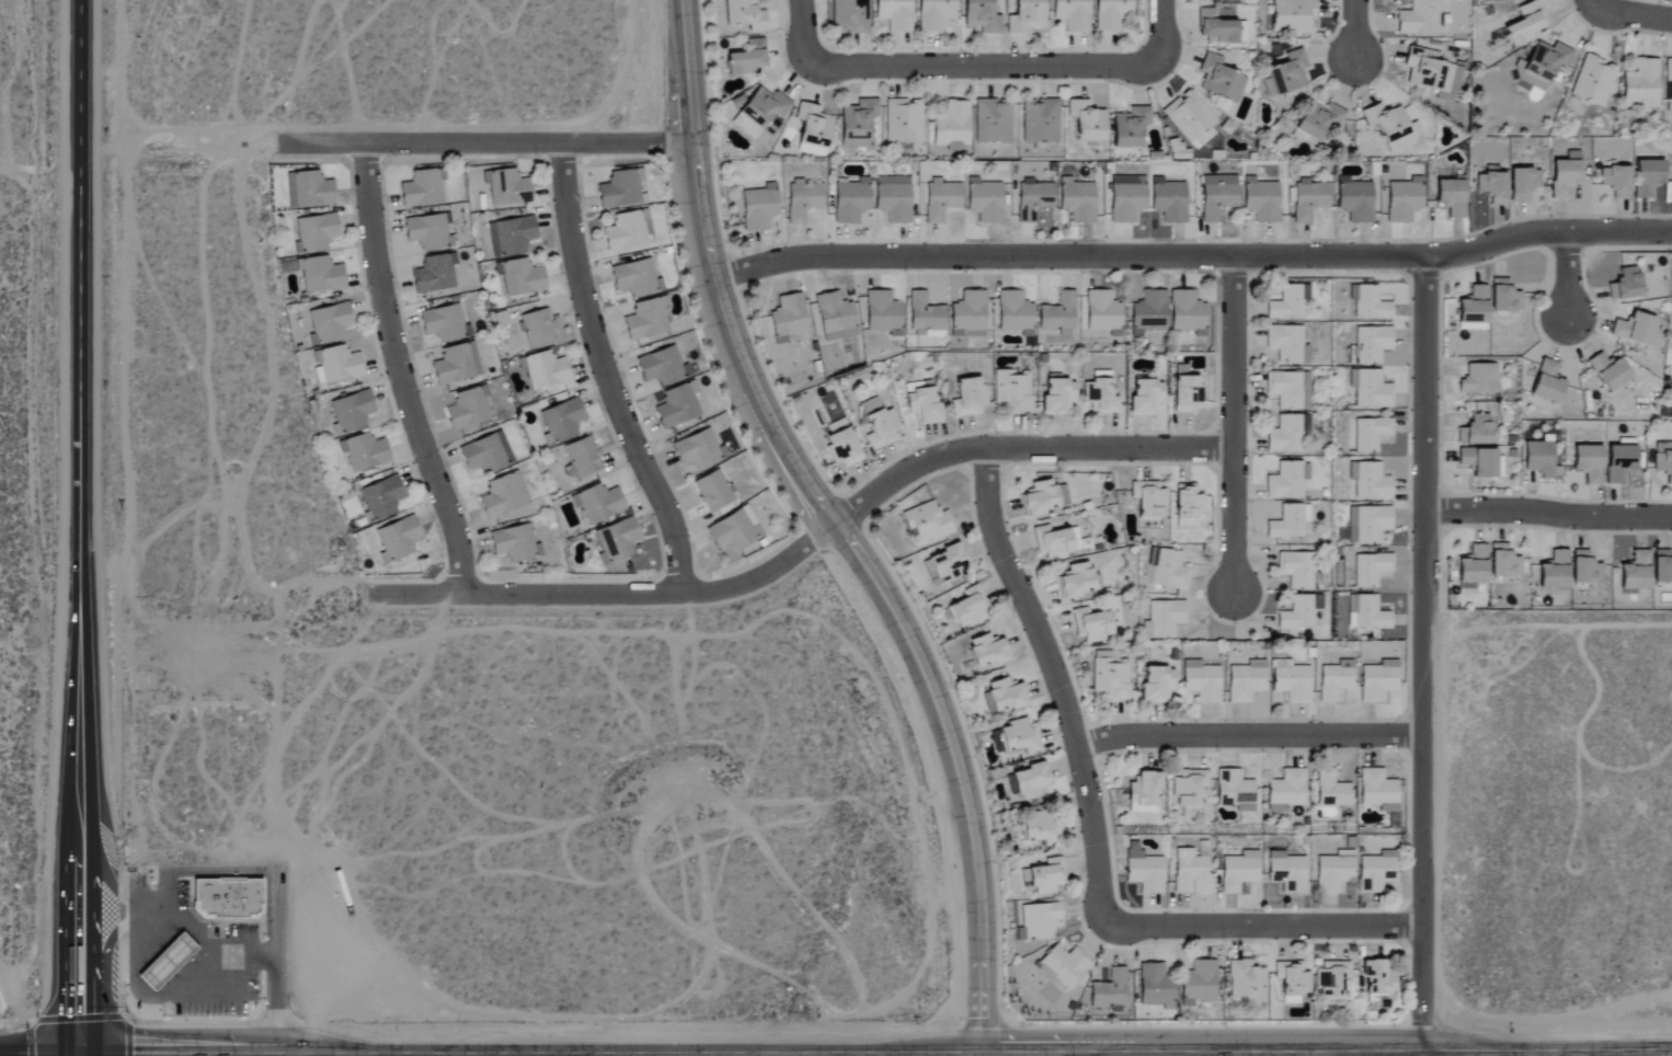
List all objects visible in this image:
building: (1219, 0)
road: (1634, 13)
building: (894, 14)
building: (934, 14)
building: (1072, 14)
building: (1110, 14)
building: (743, 15)
building: (848, 16)
building: (981, 16)
building: (1024, 16)
building: (1293, 16)
building: (1420, 19)
building: (1525, 26)
building: (1214, 28)
road: (1164, 32)
road: (1355, 32)
building: (1240, 33)
road: (804, 38)
building: (747, 59)
road: (992, 67)
building: (1432, 74)
building: (1285, 76)
building: (1219, 80)
building: (1594, 81)
building: (1669, 81)
building: (1642, 87)
building: (763, 112)
building: (1190, 118)
building: (903, 122)
building: (993, 122)
building: (1040, 122)
building: (1086, 122)
building: (1318, 122)
building: (857, 124)
building: (952, 127)
building: (1392, 127)
building: (1130, 128)
building: (812, 129)
road: (461, 145)
building: (1565, 179)
building: (1648, 179)
building: (1616, 182)
building: (1523, 184)
building: (506, 186)
building: (421, 188)
building: (1492, 188)
building: (308, 190)
building: (618, 190)
building: (1217, 196)
building: (1126, 198)
building: (1451, 198)
building: (893, 199)
building: (940, 199)
building: (1033, 199)
building: (1309, 199)
building: (1169, 200)
building: (1261, 200)
building: (1354, 200)
building: (1404, 200)
building: (802, 202)
building: (850, 202)
building: (984, 202)
building: (1076, 202)
building: (758, 208)
building: (314, 231)
building: (625, 231)
building: (427, 232)
building: (511, 236)
road: (1193, 257)
building: (320, 274)
building: (434, 274)
building: (522, 277)
building: (634, 277)
road: (1567, 277)
building: (1626, 284)
building: (1504, 296)
building: (1286, 302)
building: (1368, 302)
building: (1473, 308)
building: (881, 311)
building: (1013, 311)
building: (969, 312)
building: (1057, 312)
building: (1102, 312)
building: (1148, 312)
building: (925, 315)
building: (834, 317)
building: (787, 318)
building: (644, 319)
building: (329, 322)
building: (442, 323)
building: (1635, 328)
building: (537, 329)
building: (958, 338)
building: (1285, 343)
building: (1370, 345)
building: (337, 364)
building: (456, 364)
building: (660, 366)
building: (543, 369)
road: (401, 371)
building: (1610, 371)
road: (606, 374)
building: (1478, 379)
building: (1547, 381)
building: (1284, 389)
building: (1371, 389)
building: (1012, 390)
building: (1186, 390)
building: (1305, 390)
building: (1099, 393)
building: (1056, 395)
building: (967, 397)
building: (1145, 397)
building: (921, 404)
building: (676, 406)
building: (468, 409)
building: (351, 411)
building: (561, 421)
building: (878, 423)
road: (1233, 425)
road: (80, 426)
building: (1475, 431)
building: (1371, 433)
building: (1284, 434)
building: (503, 446)
building: (841, 448)
building: (698, 449)
building: (364, 451)
building: (482, 454)
building: (583, 457)
building: (1539, 459)
building: (1663, 459)
building: (1481, 461)
building: (1619, 461)
building: (1589, 462)
building: (1287, 480)
building: (1370, 481)
building: (711, 491)
building: (381, 497)
building: (499, 497)
building: (1043, 497)
building: (1148, 500)
building: (598, 503)
building: (1188, 506)
road: (1547, 514)
building: (1289, 521)
building: (927, 523)
building: (1367, 524)
road: (838, 527)
building: (734, 529)
building: (397, 539)
building: (616, 541)
road: (806, 541)
building: (1052, 542)
building: (514, 543)
building: (1503, 561)
building: (1473, 565)
building: (1662, 566)
building: (1585, 567)
building: (1371, 569)
building: (1169, 570)
building: (1296, 570)
building: (1555, 571)
building: (1636, 572)
building: (1076, 579)
building: (970, 608)
building: (1297, 613)
building: (1366, 613)
building: (1164, 619)
building: (1090, 624)
building: (987, 651)
road: (1422, 656)
building: (1110, 676)
building: (1201, 680)
building: (1335, 680)
road: (1056, 681)
building: (1245, 681)
building: (1377, 681)
building: (1156, 684)
building: (1004, 696)
road: (1248, 734)
building: (1020, 736)
building: (996, 742)
building: (1030, 781)
building: (1189, 788)
building: (1144, 789)
building: (1331, 790)
building: (1377, 790)
building: (1235, 791)
building: (1286, 791)
building: (1041, 828)
building: (1239, 871)
building: (1333, 871)
building: (1376, 871)
building: (1144, 872)
building: (1191, 872)
building: (1286, 872)
building: (1046, 876)
road: (114, 887)
building: (227, 898)
road: (82, 899)
building: (1038, 921)
road: (1262, 927)
road: (118, 929)
road: (209, 945)
building: (168, 961)
gas station: (168, 961)
road: (274, 962)
building: (1063, 966)
building: (1377, 978)
building: (1331, 979)
building: (1292, 980)
building: (1199, 982)
building: (1246, 983)
building: (1156, 987)
building: (1109, 990)
road: (83, 1000)
road: (142, 1000)

